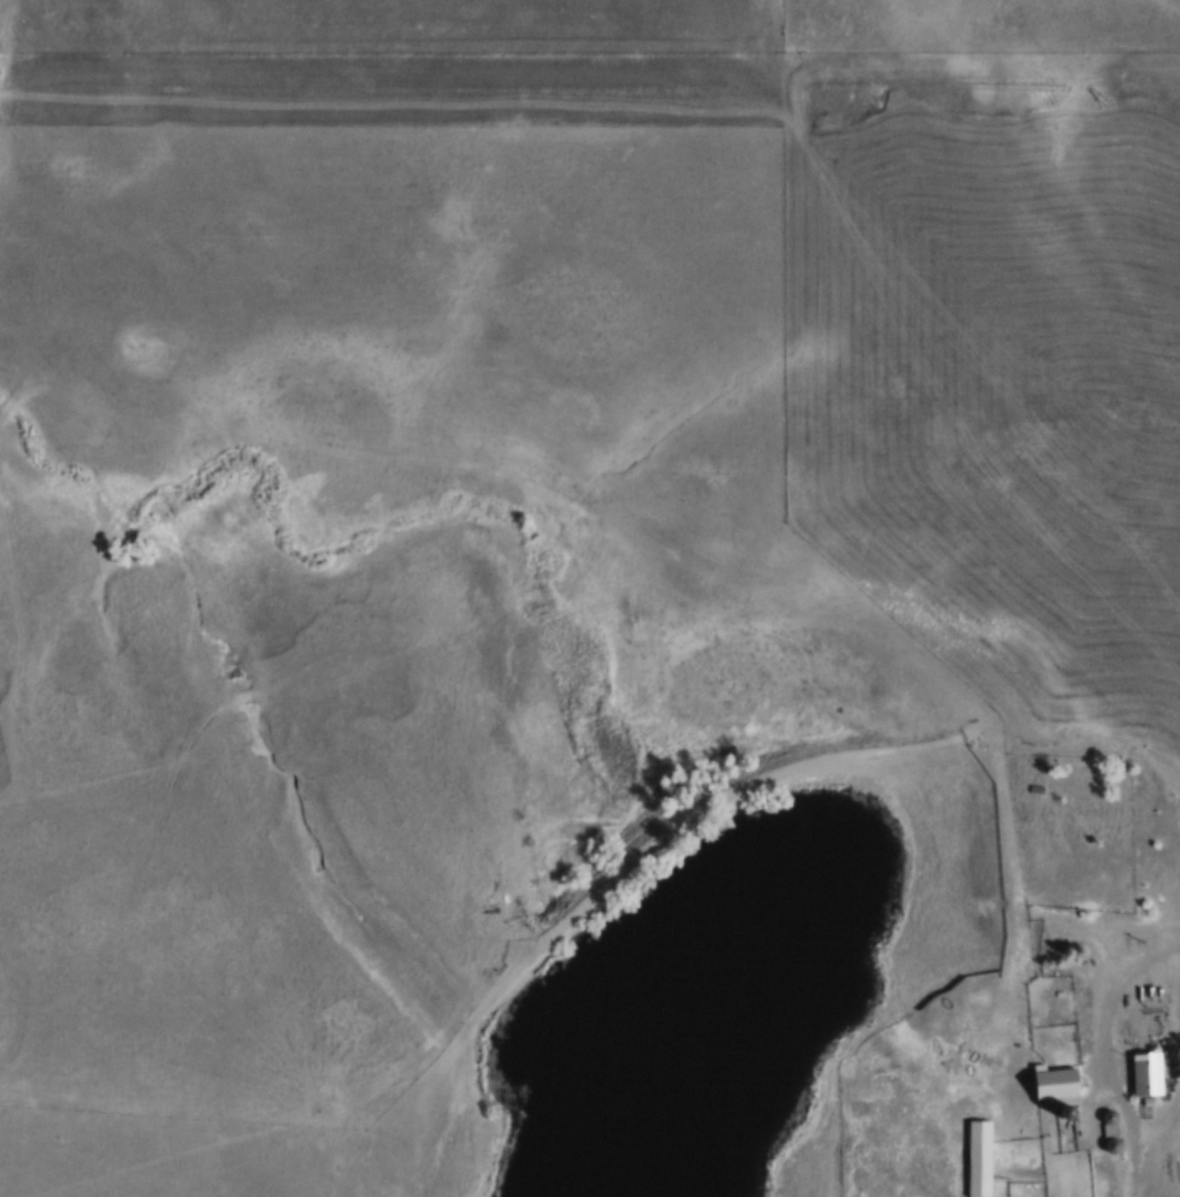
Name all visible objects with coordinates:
dam: (722, 783)
building: (1068, 889)
road: (1162, 925)
building: (1063, 973)
building: (1143, 1074)
building: (1050, 1085)

